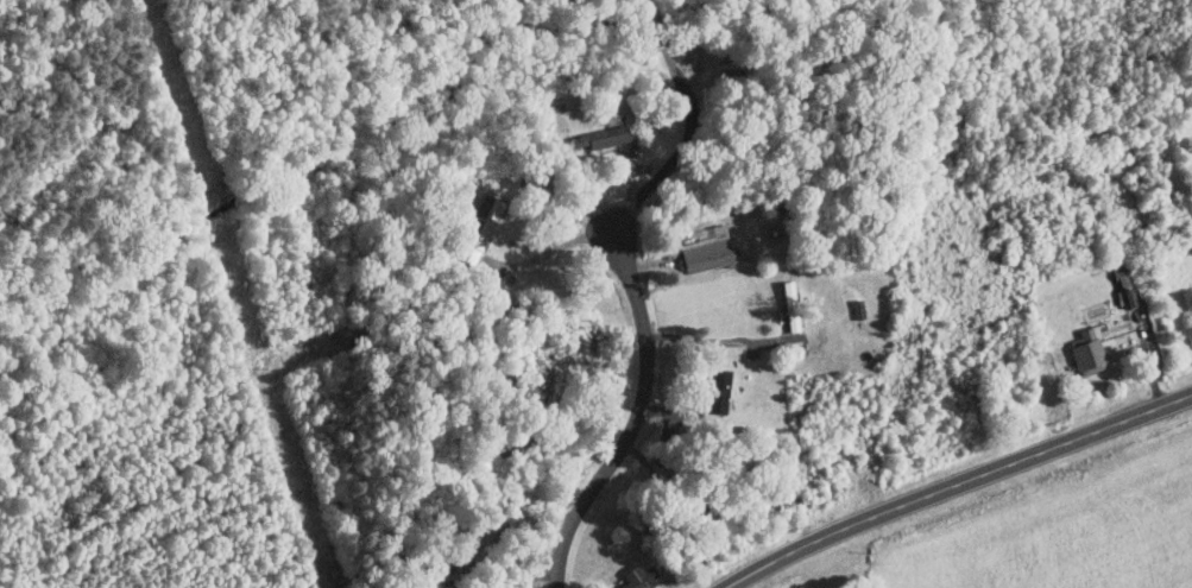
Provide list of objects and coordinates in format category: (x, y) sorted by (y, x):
road: (693, 127)
building: (600, 137)
building: (480, 226)
road: (555, 248)
building: (707, 253)
building: (1128, 296)
road: (642, 314)
road: (718, 340)
building: (1085, 350)
building: (714, 392)
road: (958, 482)
road: (592, 488)
building: (635, 576)

